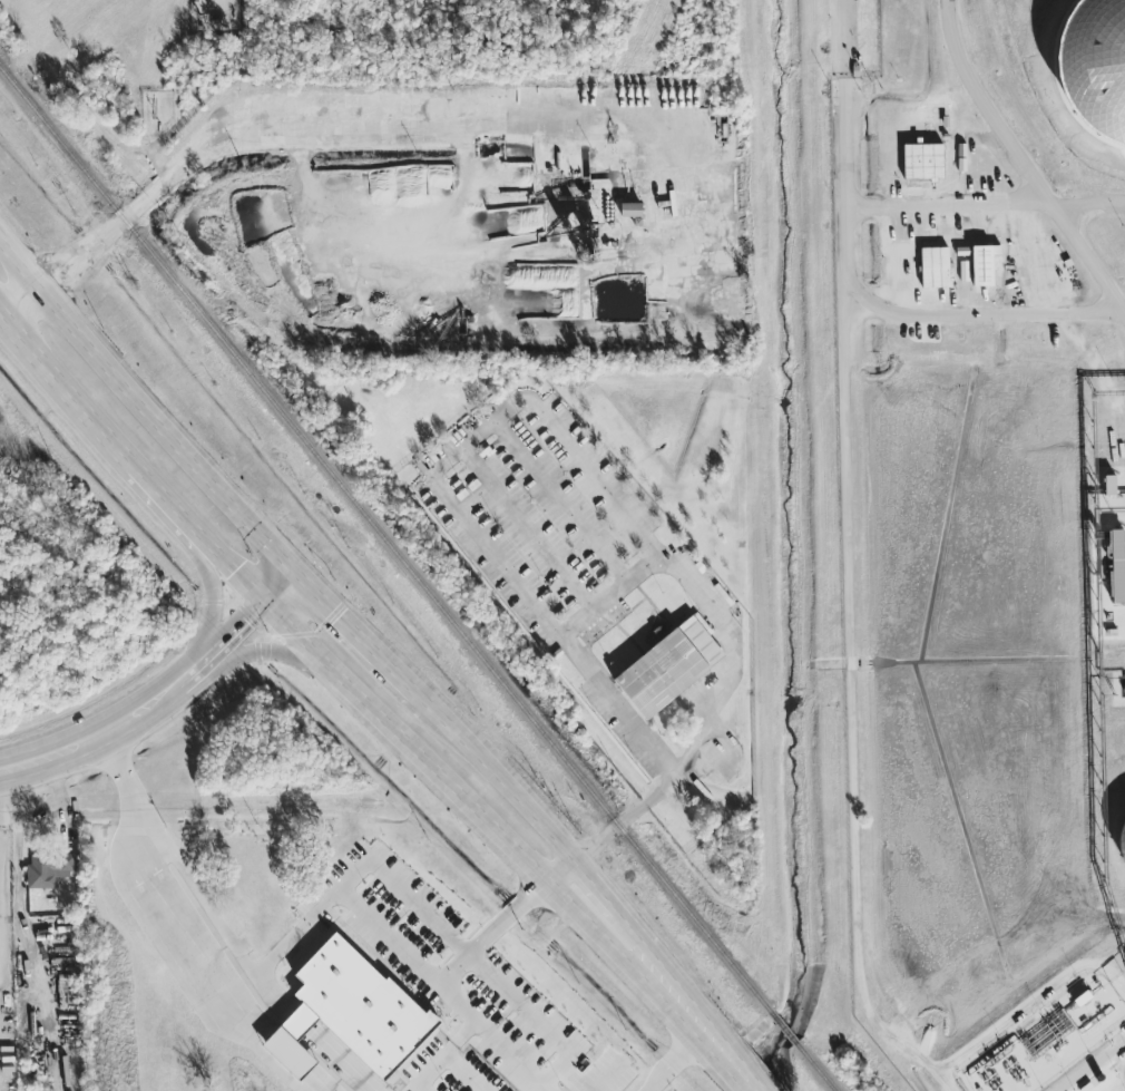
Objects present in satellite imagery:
road: (842, 38)
building: (1095, 65)
building: (922, 160)
road: (1036, 185)
road: (140, 199)
road: (1088, 204)
building: (630, 208)
building: (982, 263)
building: (935, 266)
road: (1121, 305)
road: (1037, 312)
road: (686, 332)
road: (68, 380)
road: (145, 405)
road: (467, 440)
road: (558, 495)
road: (167, 496)
road: (849, 500)
parking lot: (536, 503)
road: (521, 523)
railway: (382, 536)
road: (658, 553)
road: (662, 563)
road: (229, 565)
traffic signals: (293, 568)
road: (628, 579)
road: (212, 598)
traffic signals: (263, 600)
road: (591, 611)
road: (338, 614)
road: (245, 616)
road: (264, 651)
building: (666, 668)
road: (404, 683)
road: (370, 704)
road: (437, 715)
road: (106, 732)
road: (661, 757)
road: (57, 783)
road: (509, 789)
road: (644, 802)
road: (217, 803)
road: (60, 812)
building: (1122, 827)
road: (3, 828)
road: (557, 866)
building: (48, 867)
road: (594, 884)
road: (573, 907)
road: (185, 929)
road: (388, 936)
road: (650, 952)
road: (467, 958)
road: (271, 995)
building: (350, 1011)
road: (689, 1016)
road: (873, 1017)
road: (295, 1024)
railway: (780, 1025)
road: (460, 1036)
road: (493, 1036)
road: (713, 1043)
road: (282, 1058)
road: (332, 1062)
road: (677, 1062)
road: (1093, 1064)
railway: (814, 1068)
road: (428, 1071)
road: (736, 1071)
road: (466, 1072)
road: (309, 1083)

